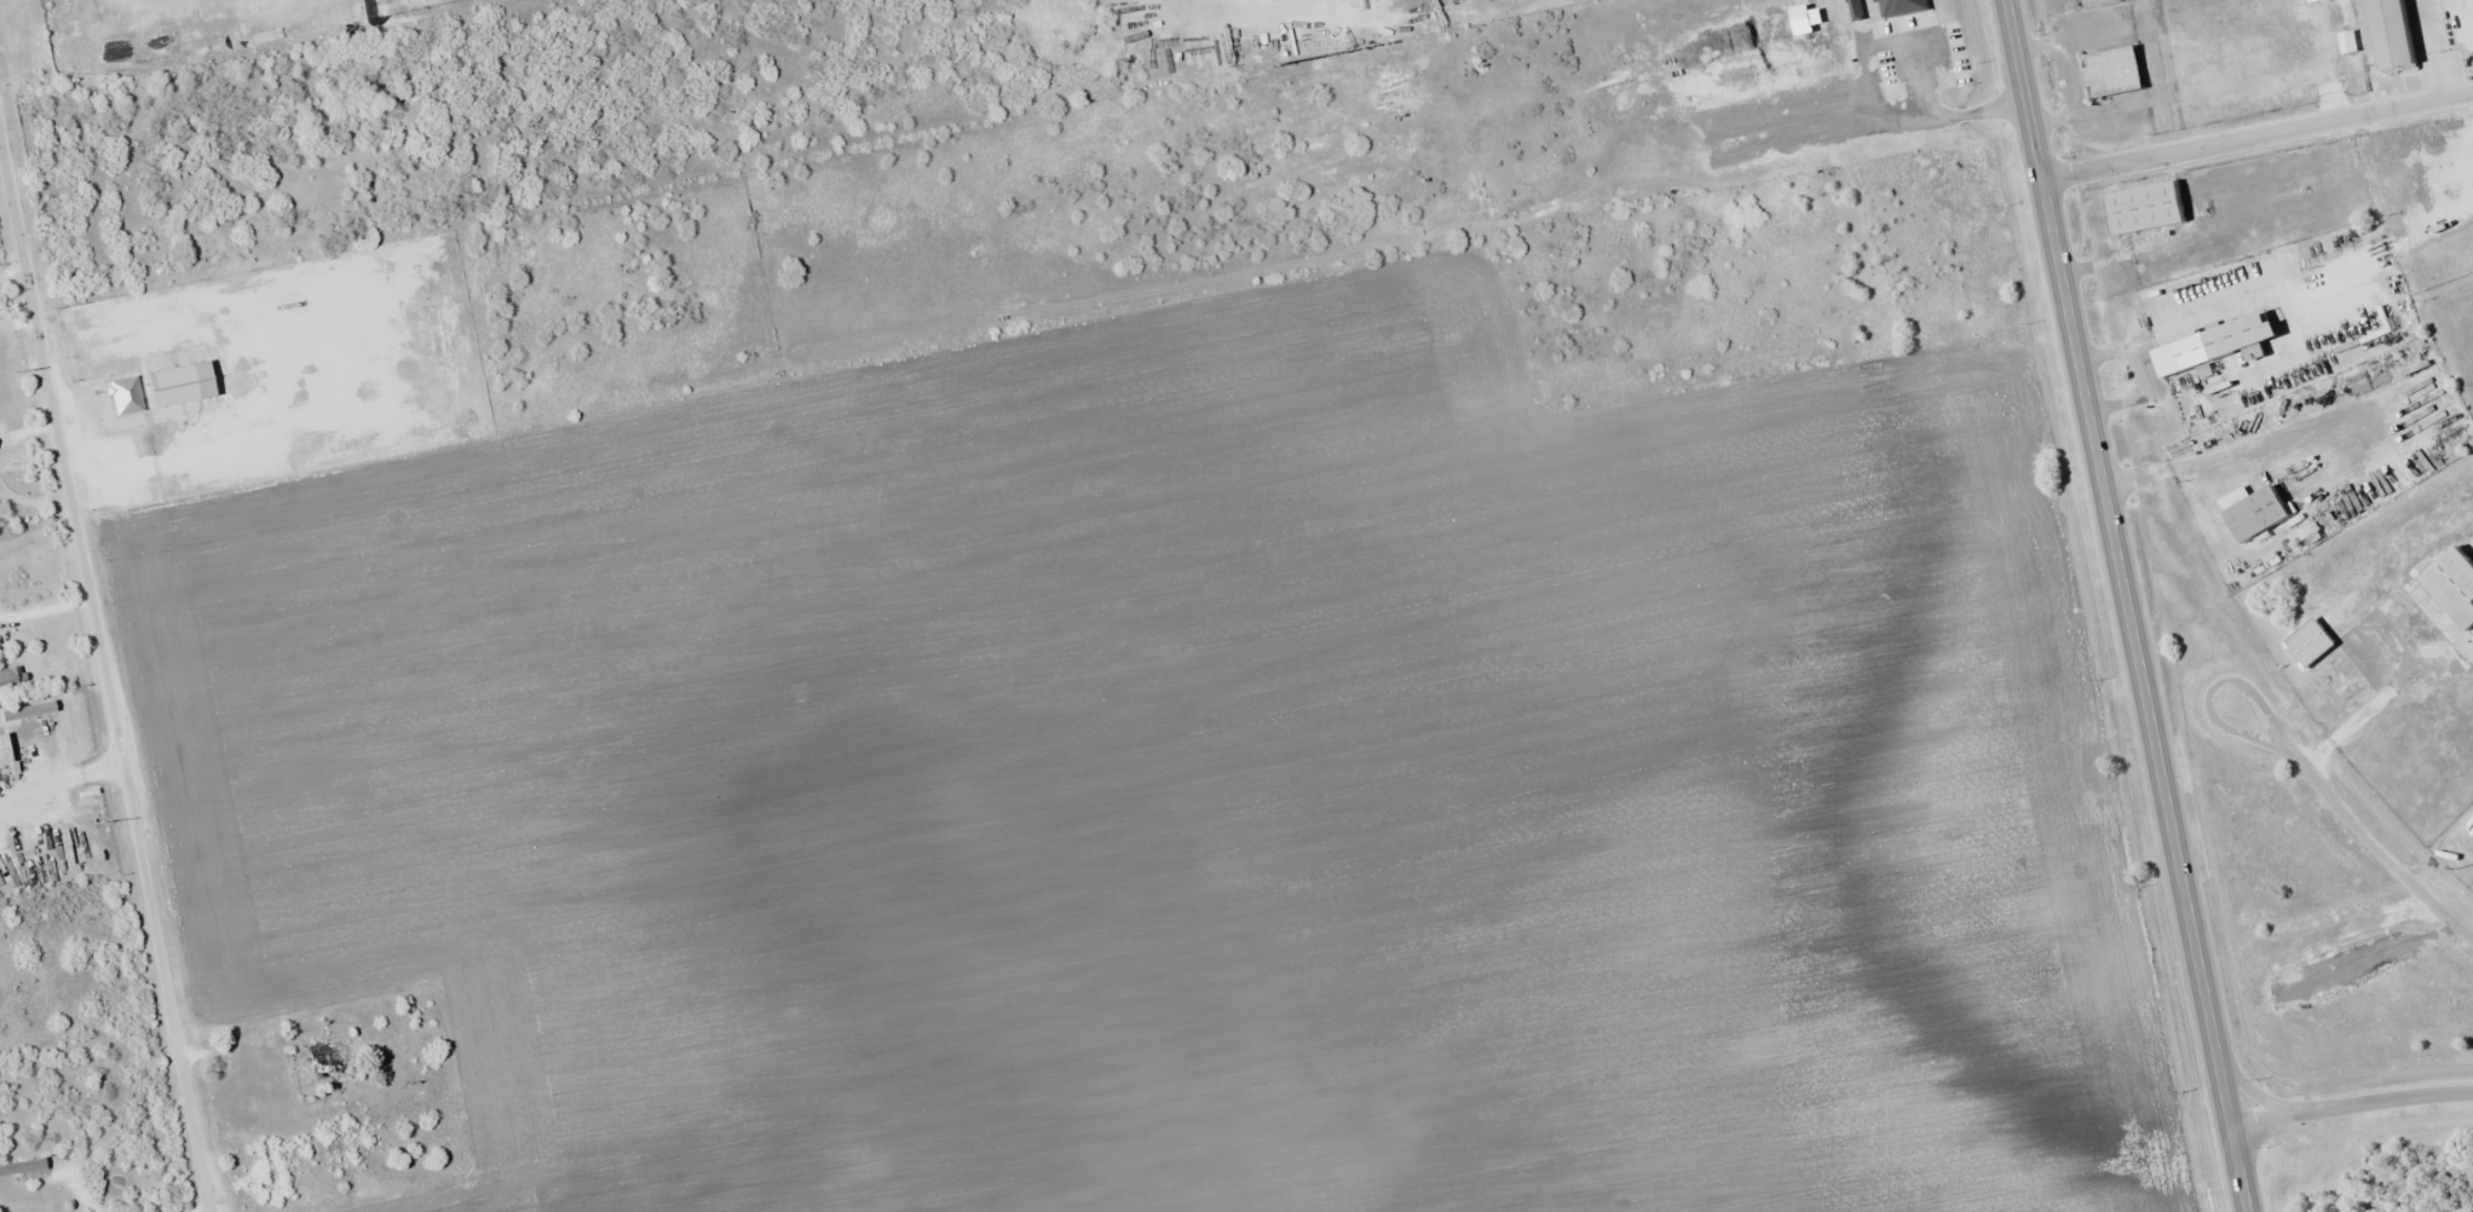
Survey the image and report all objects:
building: (2316, 0)
building: (2398, 33)
building: (2115, 70)
road: (2256, 134)
building: (2149, 207)
building: (2220, 342)
power tower: (17, 373)
building: (2204, 421)
building: (2259, 510)
building: (2452, 575)
road: (2127, 606)
building: (2312, 641)
building: (8, 680)
road: (104, 680)
building: (29, 711)
building: (65, 725)
building: (5, 750)
road: (59, 772)
power tower: (105, 823)
road: (2370, 841)
building: (327, 1057)
road: (2351, 1106)

